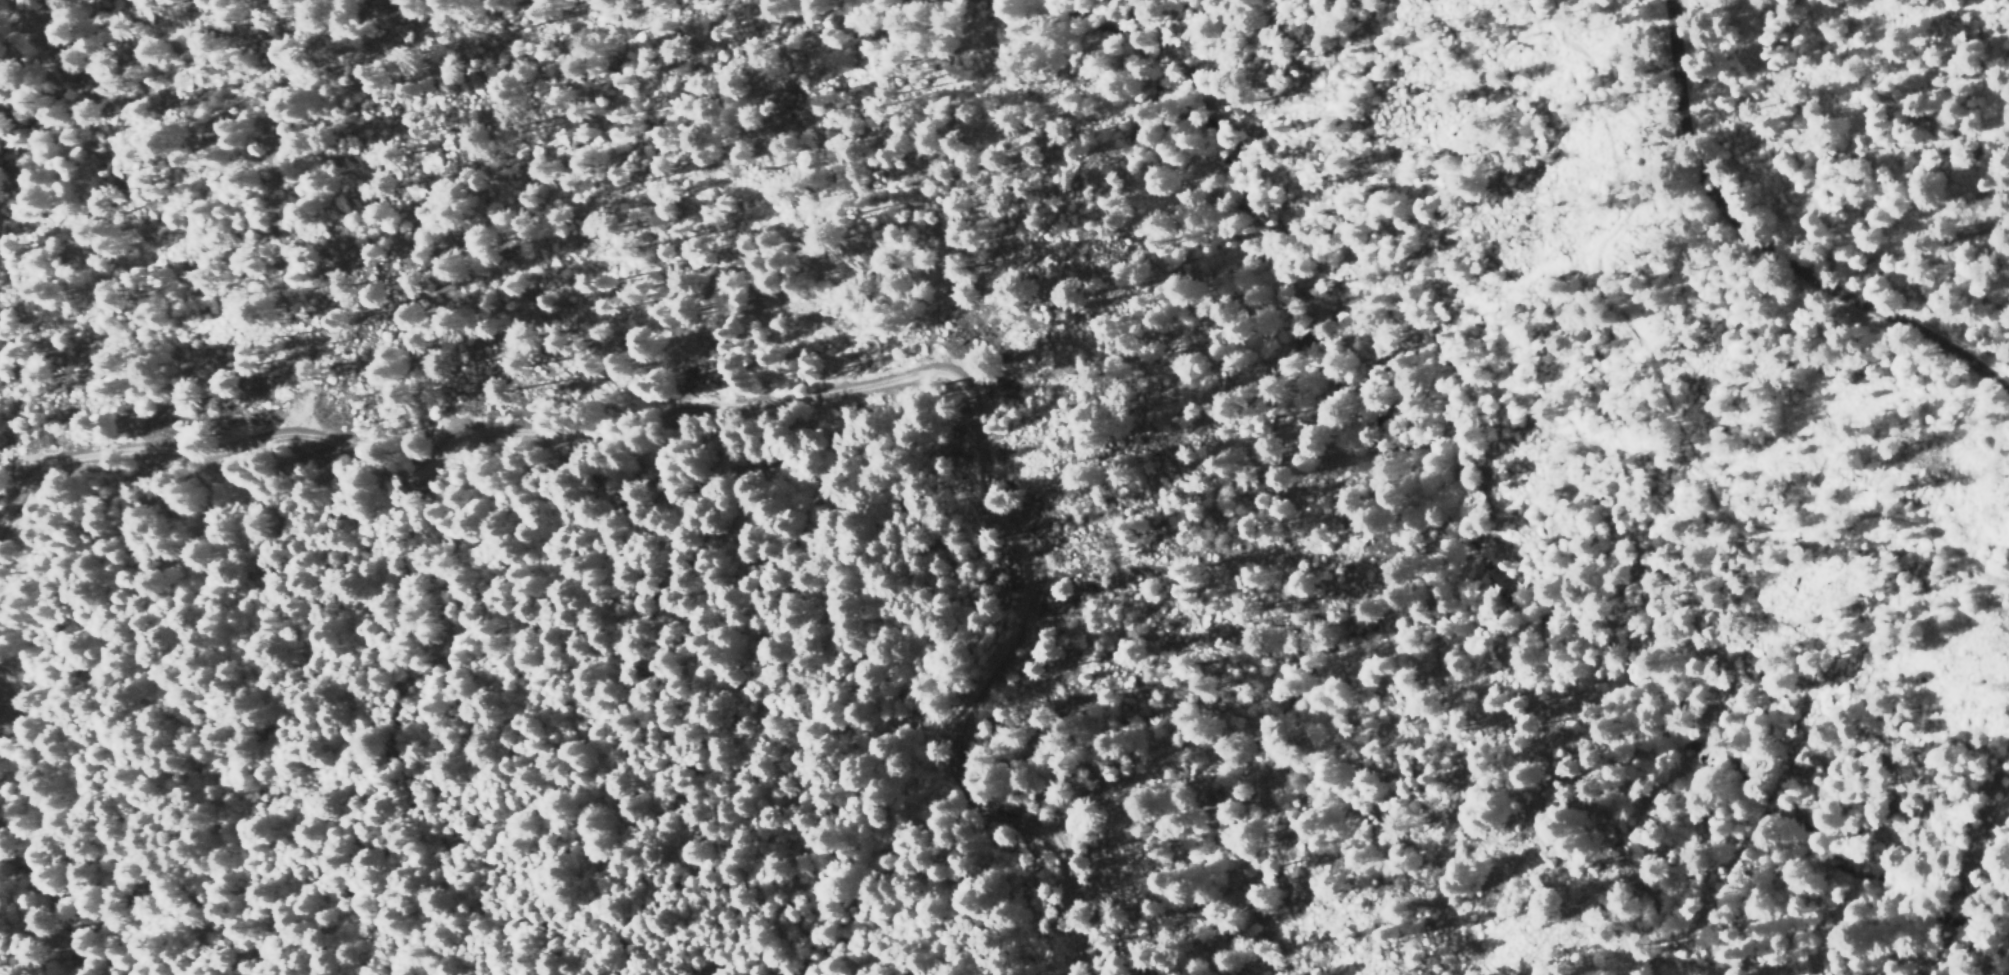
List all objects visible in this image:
road: (1775, 242)

